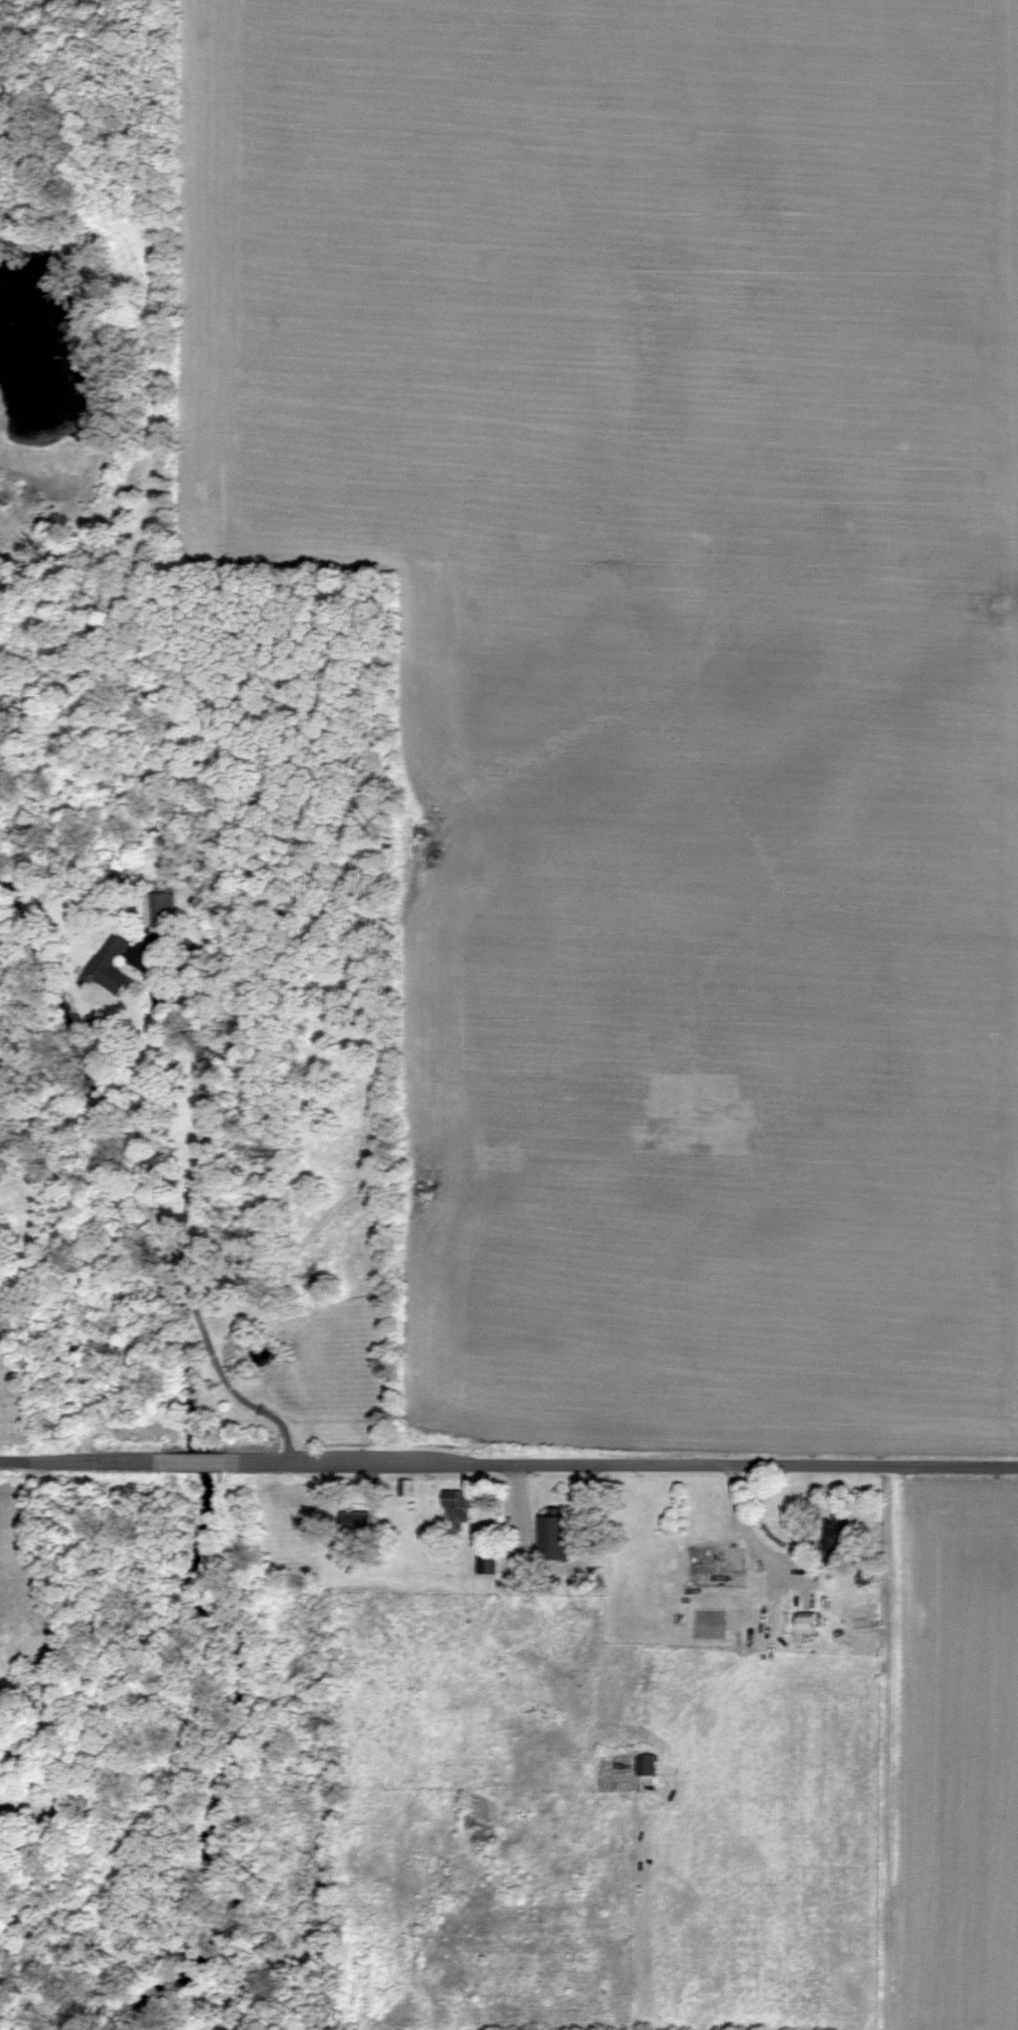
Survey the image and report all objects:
building: (162, 852)
building: (111, 964)
road: (185, 1215)
park: (17, 1371)
road: (629, 1455)
road: (77, 1459)
road: (198, 1459)
building: (407, 1487)
building: (466, 1500)
road: (529, 1510)
building: (360, 1521)
road: (763, 1530)
building: (563, 1531)
parking lot: (529, 1539)
building: (839, 1539)
building: (496, 1551)
building: (488, 1561)
building: (720, 1569)
building: (810, 1624)

